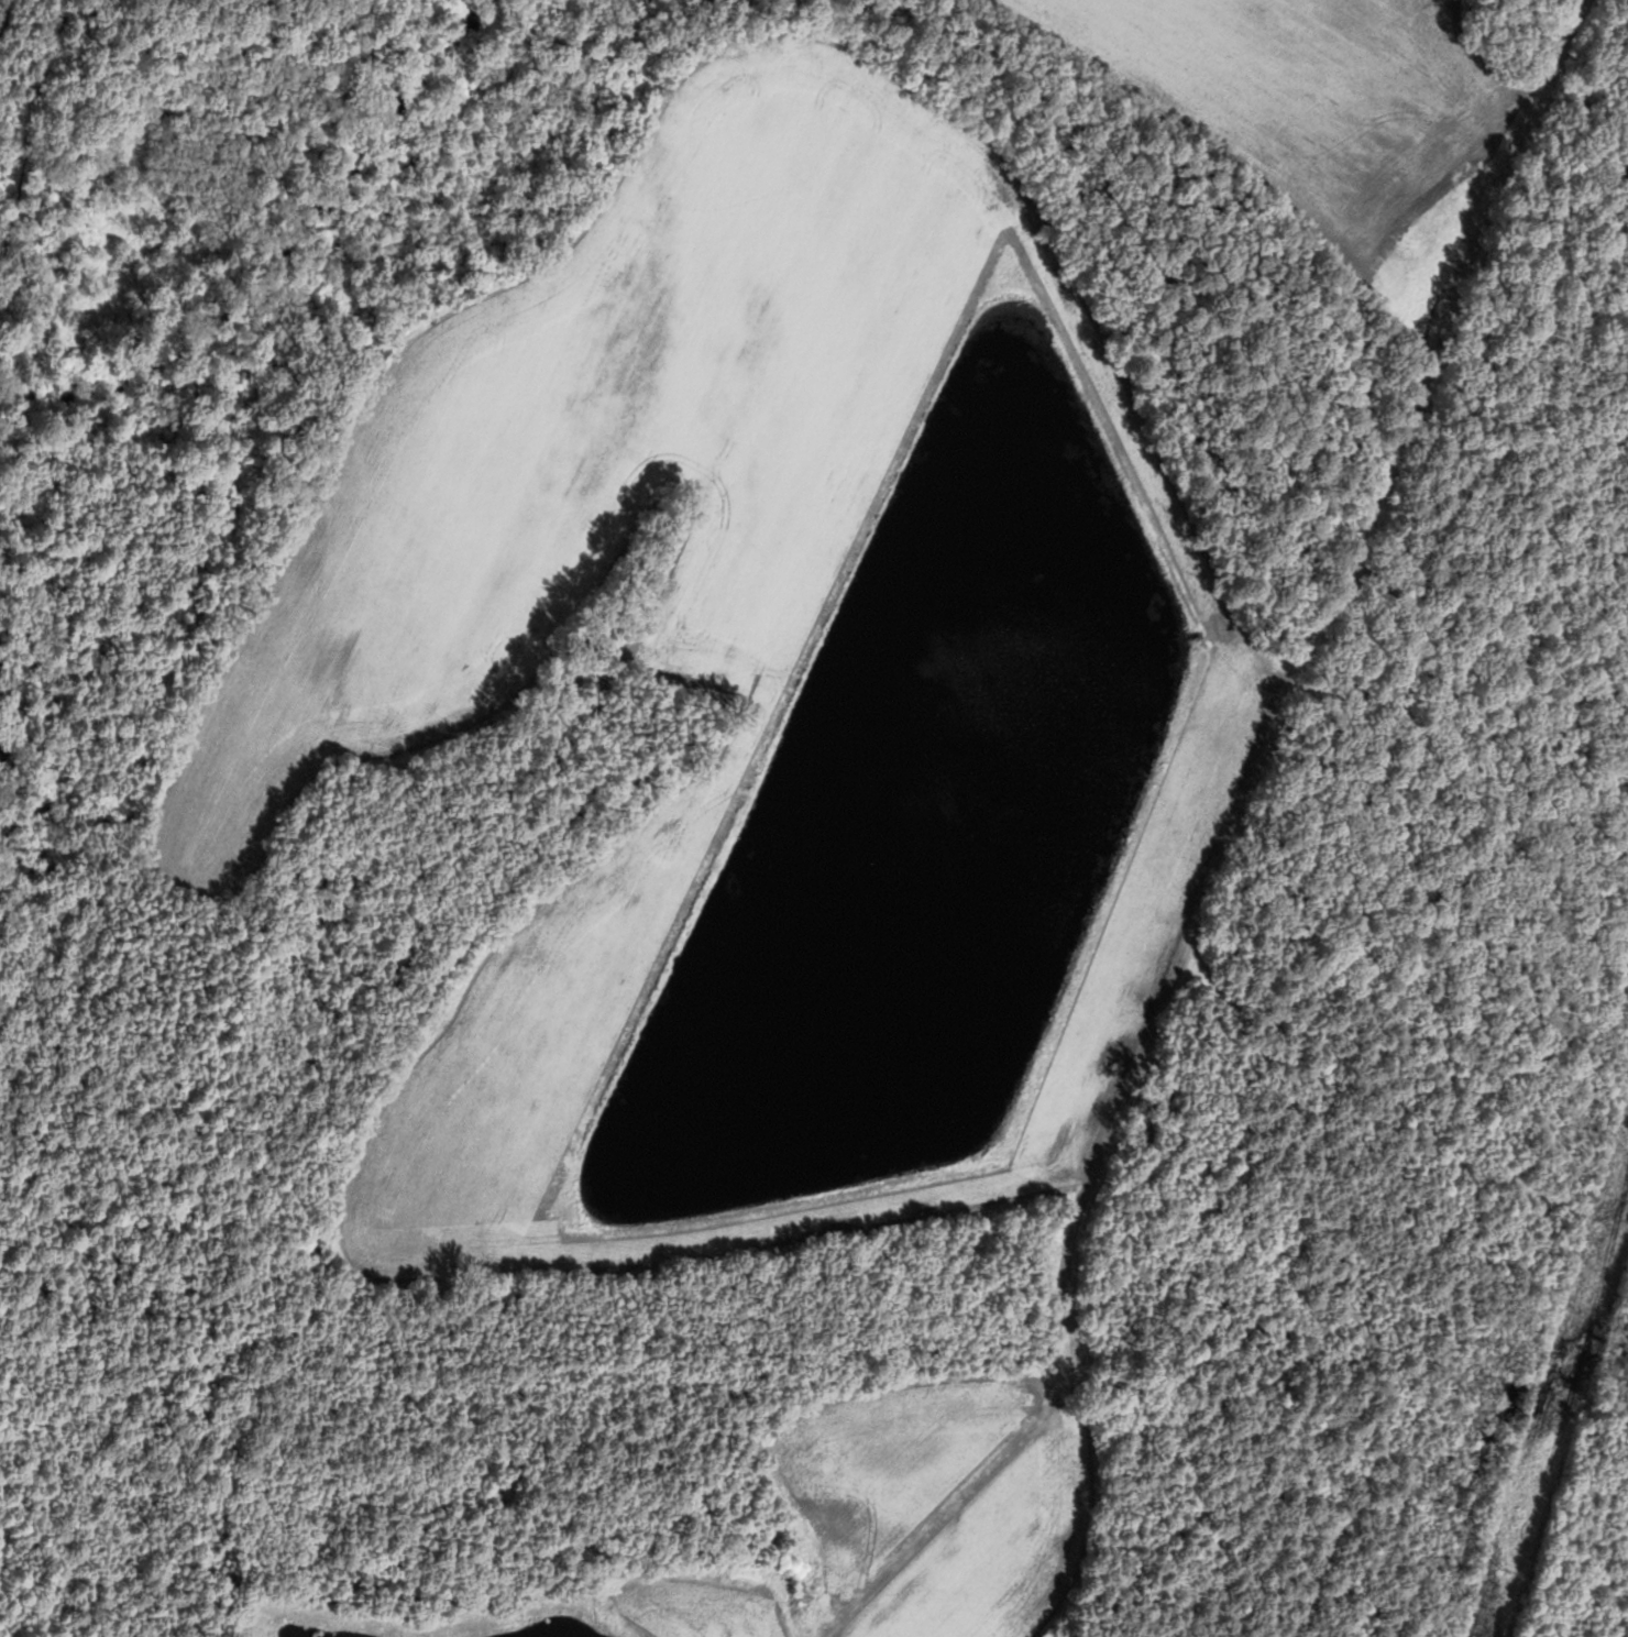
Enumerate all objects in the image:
power tower: (1507, 1570)

